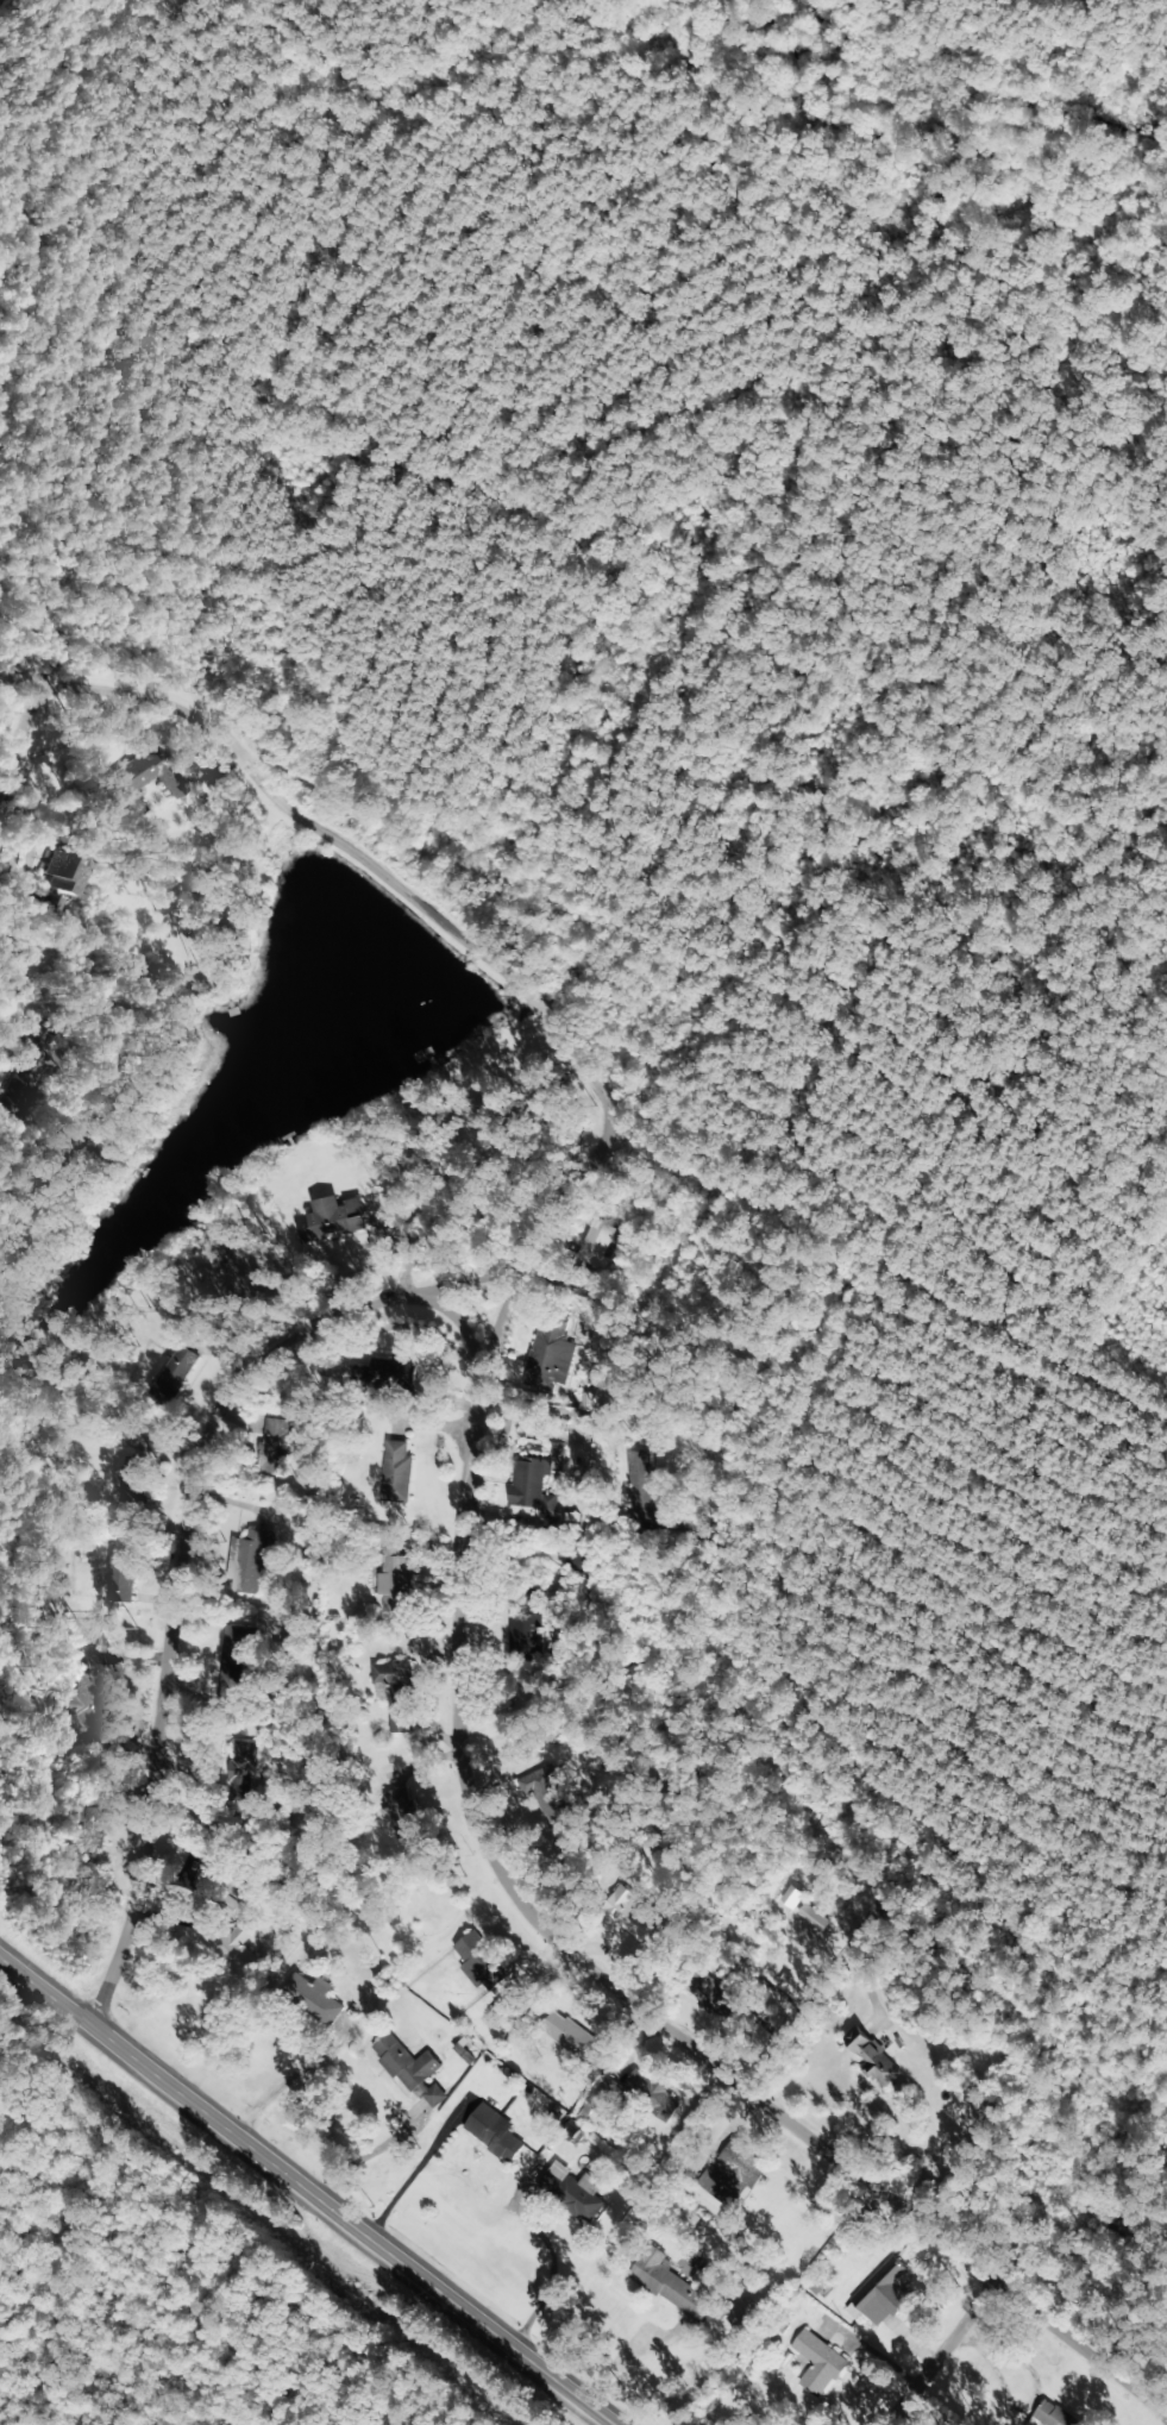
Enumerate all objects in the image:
road: (7, 687)
building: (140, 779)
building: (67, 871)
building: (51, 904)
road: (416, 910)
building: (20, 1092)
building: (332, 1222)
building: (596, 1241)
building: (551, 1352)
building: (384, 1372)
building: (172, 1376)
building: (277, 1434)
building: (395, 1470)
building: (636, 1474)
building: (132, 1479)
building: (529, 1485)
road: (167, 1550)
building: (249, 1558)
building: (394, 1568)
building: (120, 1577)
building: (523, 1633)
building: (231, 1665)
road: (715, 1685)
building: (394, 1693)
building: (82, 1702)
building: (239, 1769)
building: (551, 1800)
building: (88, 1836)
road: (495, 1886)
building: (233, 1887)
building: (228, 1945)
building: (478, 1961)
building: (711, 1994)
building: (312, 1997)
building: (569, 2036)
building: (873, 2057)
building: (412, 2069)
building: (602, 2091)
building: (651, 2094)
building: (496, 2133)
road: (1137, 2163)
building: (734, 2170)
building: (569, 2194)
road: (303, 2197)
building: (672, 2287)
building: (884, 2292)
road: (1047, 2326)
road: (898, 2356)
building: (818, 2363)
building: (1050, 2414)

